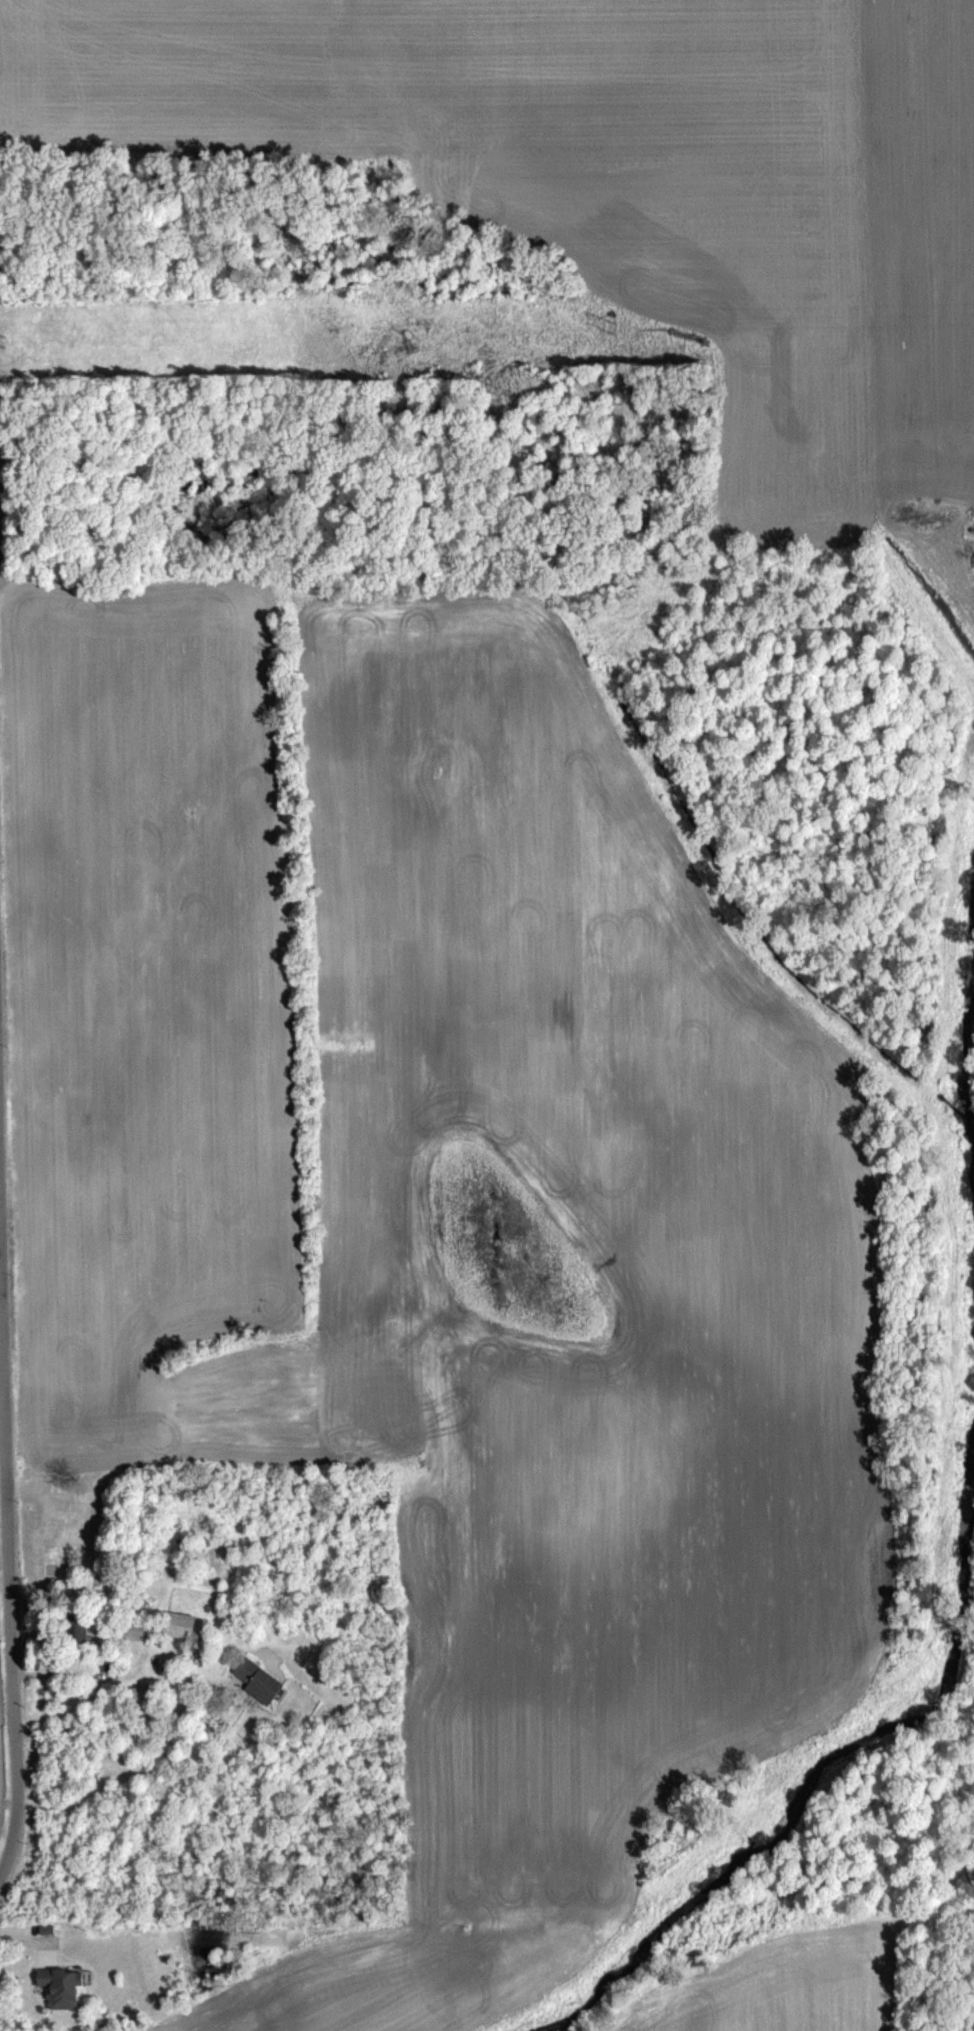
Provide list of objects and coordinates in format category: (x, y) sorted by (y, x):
building: (177, 1626)
building: (131, 1632)
building: (78, 1633)
building: (255, 1682)
building: (138, 1699)
road: (6, 1862)
building: (56, 1987)

